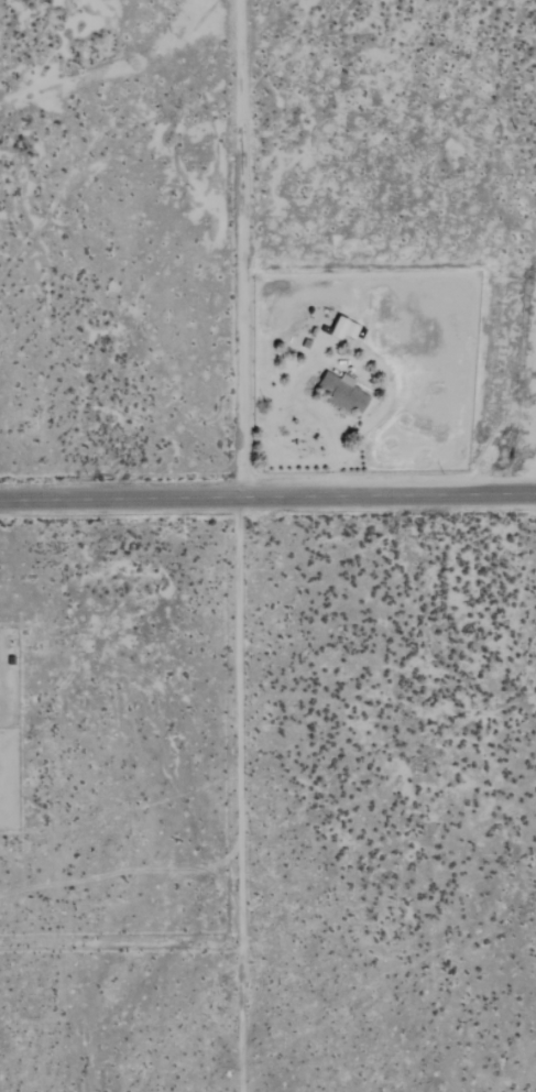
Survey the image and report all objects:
road: (239, 249)
building: (340, 328)
building: (342, 392)
road: (267, 498)
road: (241, 721)
road: (120, 947)

